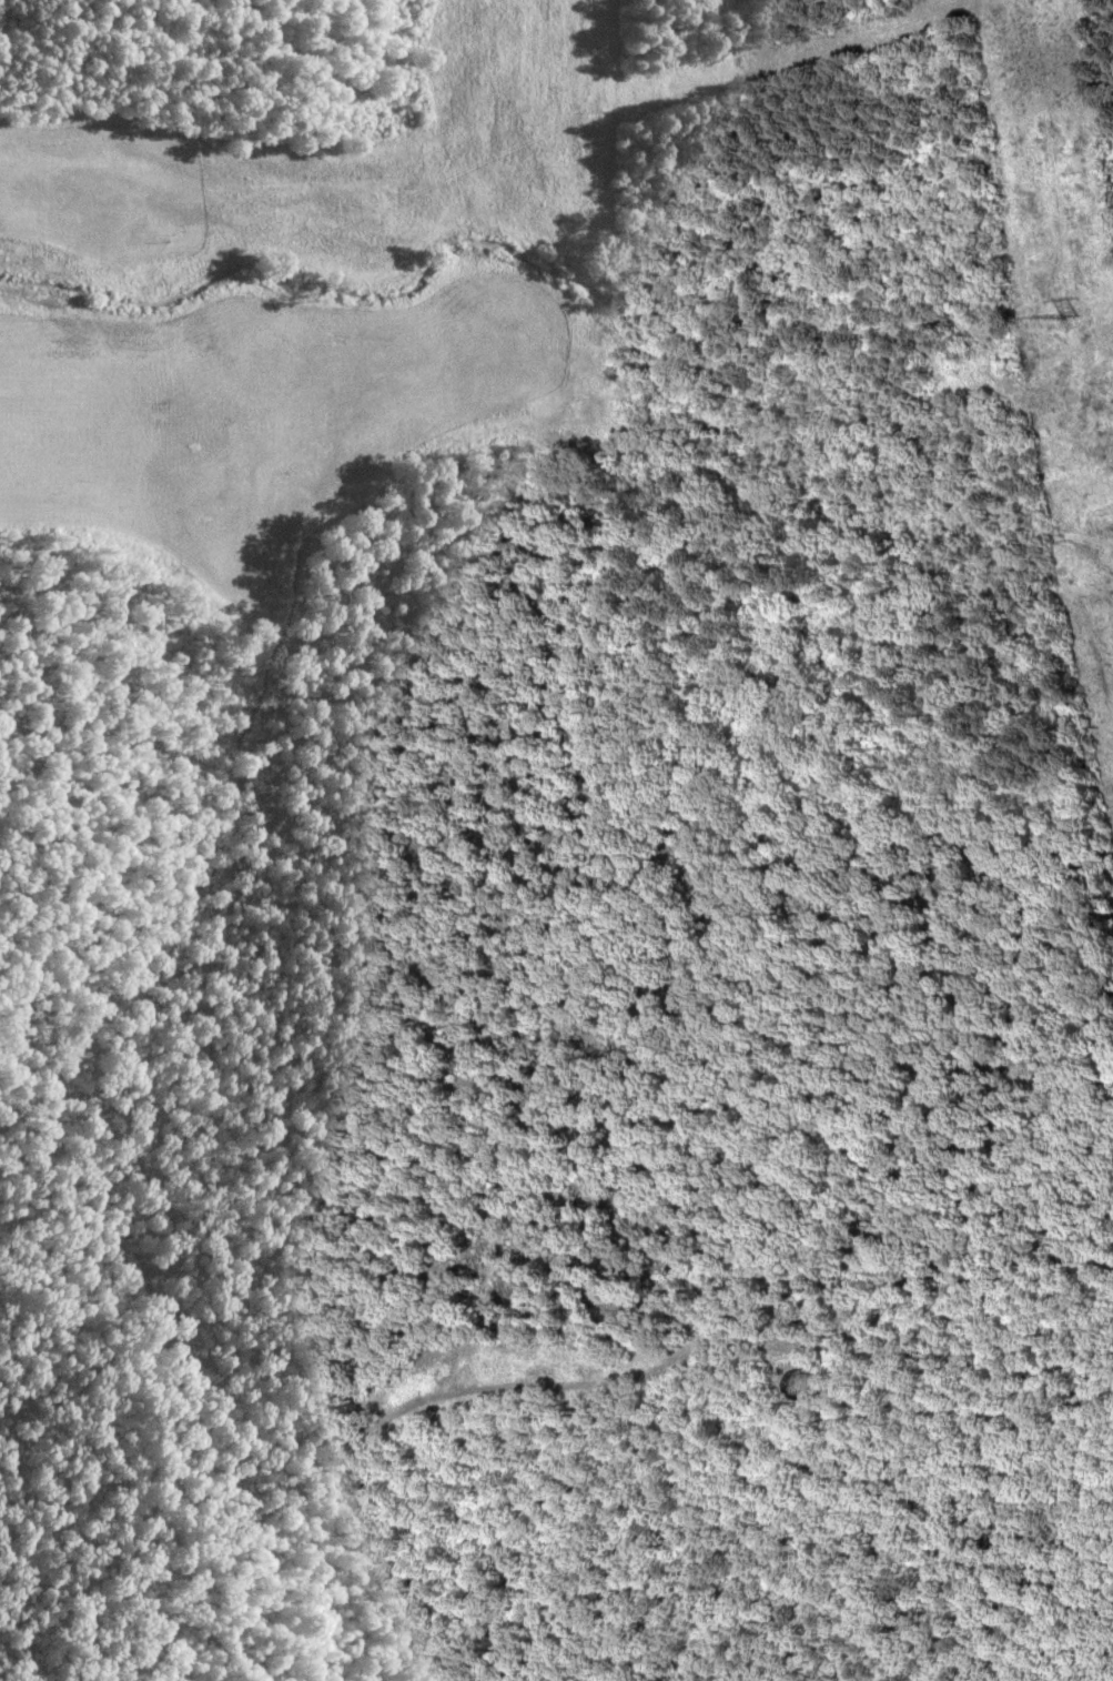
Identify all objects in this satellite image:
power tower: (1068, 322)

